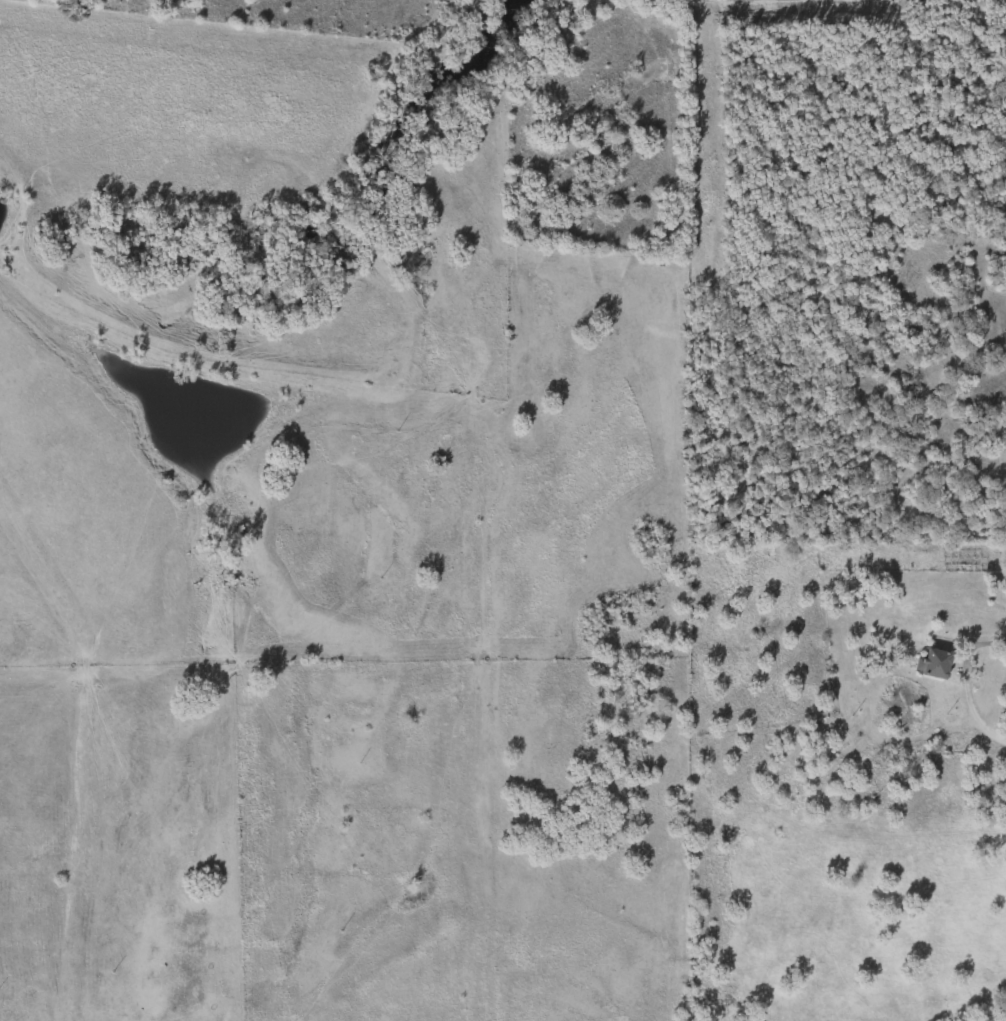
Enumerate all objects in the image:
building: (1005, 585)
road: (978, 643)
building: (929, 663)
road: (974, 710)
building: (839, 741)

